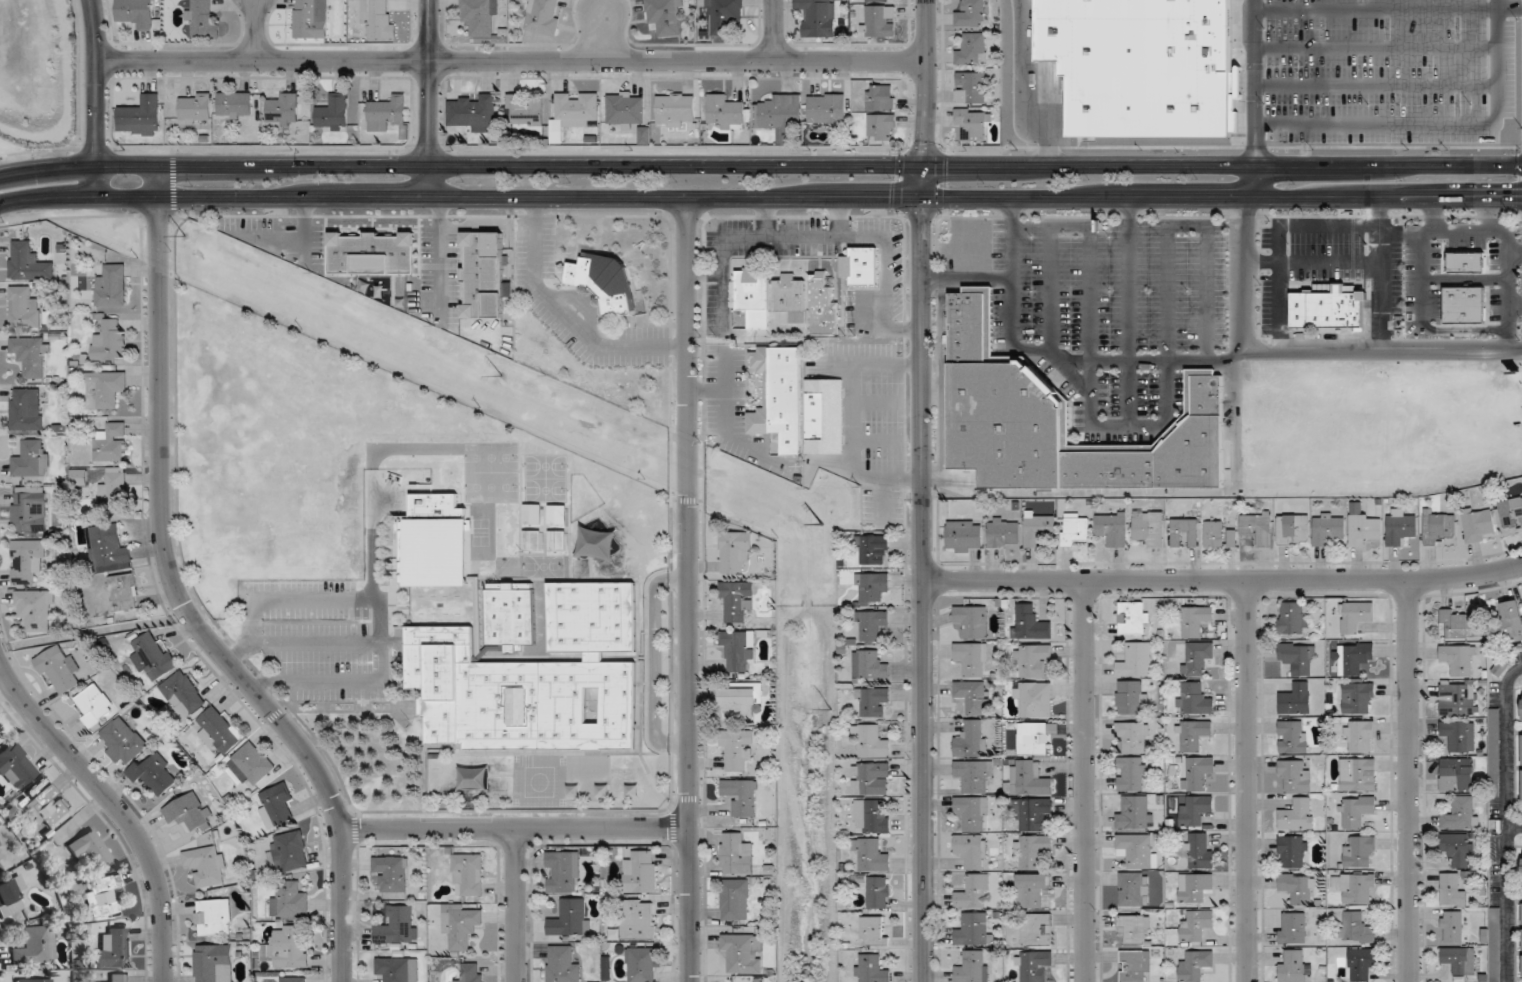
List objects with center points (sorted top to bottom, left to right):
building: (877, 1)
building: (135, 13)
building: (971, 15)
building: (544, 16)
building: (724, 16)
building: (479, 17)
building: (666, 17)
building: (819, 18)
building: (201, 19)
building: (310, 19)
building: (379, 20)
building: (880, 21)
road: (255, 30)
road: (774, 30)
road: (603, 31)
building: (972, 50)
road: (511, 61)
building: (1142, 65)
building: (970, 88)
road: (97, 97)
road: (430, 97)
building: (881, 98)
building: (234, 105)
building: (195, 108)
building: (283, 109)
building: (826, 109)
building: (525, 110)
building: (577, 110)
building: (675, 110)
building: (333, 113)
building: (387, 113)
building: (629, 113)
building: (724, 113)
building: (474, 114)
building: (778, 114)
building: (140, 117)
building: (973, 124)
building: (882, 128)
traffic signals: (926, 138)
road: (760, 164)
traffic signals: (948, 164)
road: (1259, 181)
road: (343, 196)
traffic signals: (886, 197)
road: (1104, 197)
traffic signals: (1510, 198)
traffic signals: (922, 224)
building: (372, 254)
building: (28, 263)
building: (861, 267)
building: (482, 275)
building: (1477, 277)
building: (607, 281)
building: (112, 287)
building: (754, 296)
building: (790, 299)
building: (823, 306)
building: (24, 309)
building: (1327, 309)
building: (1462, 329)
building: (110, 341)
building: (31, 356)
building: (103, 390)
building: (779, 396)
building: (26, 410)
building: (824, 416)
building: (1060, 421)
building: (111, 443)
building: (32, 460)
building: (79, 477)
road: (922, 490)
building: (113, 494)
building: (27, 514)
building: (508, 514)
building: (532, 514)
building: (1511, 514)
building: (557, 515)
building: (1479, 525)
building: (1257, 527)
building: (1363, 527)
building: (1039, 528)
building: (1149, 528)
building: (1400, 528)
building: (1437, 528)
building: (1074, 529)
building: (1112, 529)
building: (1328, 529)
building: (1293, 530)
building: (1185, 532)
building: (1003, 533)
building: (1214, 534)
building: (964, 537)
building: (507, 540)
building: (532, 540)
building: (557, 541)
building: (108, 547)
building: (872, 550)
building: (735, 551)
building: (27, 561)
road: (1223, 580)
building: (872, 588)
road: (689, 589)
building: (123, 593)
road: (181, 598)
road: (316, 598)
building: (737, 602)
building: (34, 608)
building: (510, 614)
building: (1356, 617)
building: (1133, 618)
building: (1293, 618)
building: (1195, 621)
building: (972, 622)
building: (1508, 623)
building: (1028, 624)
building: (1456, 624)
building: (871, 626)
road: (316, 641)
road: (239, 650)
building: (736, 651)
building: (154, 658)
building: (1196, 658)
building: (1298, 658)
building: (1354, 658)
building: (972, 659)
road: (382, 660)
building: (1459, 660)
building: (1032, 661)
building: (1136, 661)
building: (870, 665)
building: (1501, 667)
building: (59, 670)
road: (315, 679)
building: (534, 680)
building: (182, 695)
building: (971, 696)
building: (1131, 698)
building: (1458, 698)
building: (1034, 699)
building: (1194, 699)
building: (1296, 699)
building: (1360, 700)
building: (741, 701)
building: (872, 701)
building: (94, 706)
building: (1521, 708)
building: (220, 731)
building: (1193, 735)
building: (1292, 736)
building: (1459, 736)
building: (1133, 737)
building: (1360, 737)
building: (1033, 739)
building: (972, 740)
building: (122, 741)
building: (872, 742)
building: (738, 748)
building: (251, 765)
building: (16, 767)
building: (1521, 768)
building: (1197, 773)
building: (1132, 774)
building: (1294, 774)
building: (154, 775)
building: (1358, 775)
building: (1456, 775)
building: (974, 776)
building: (473, 779)
building: (871, 779)
building: (1028, 780)
road: (1085, 781)
road: (1246, 781)
road: (1409, 781)
building: (741, 796)
building: (277, 806)
building: (46, 808)
road: (116, 808)
building: (1196, 811)
building: (1357, 811)
building: (189, 813)
building: (972, 813)
building: (1032, 813)
building: (1135, 813)
building: (1461, 814)
building: (1297, 815)
building: (871, 817)
road: (1506, 820)
road: (1514, 827)
road: (516, 829)
building: (89, 849)
building: (1136, 850)
building: (1456, 850)
building: (972, 851)
building: (1200, 851)
building: (290, 852)
building: (1031, 852)
building: (1293, 852)
building: (1360, 853)
building: (736, 854)
building: (872, 855)
building: (206, 866)
building: (1, 869)
building: (1521, 869)
building: (392, 873)
building: (563, 873)
building: (641, 873)
building: (468, 874)
building: (1195, 887)
building: (1298, 889)
building: (1358, 889)
building: (1031, 890)
building: (1133, 890)
building: (1452, 890)
building: (878, 893)
building: (973, 893)
building: (11, 897)
building: (104, 897)
building: (288, 900)
building: (734, 900)
road: (517, 905)
building: (213, 918)
building: (570, 919)
building: (638, 920)
building: (397, 926)
building: (1197, 926)
building: (462, 928)
building: (1452, 928)
building: (1135, 929)
building: (1292, 929)
building: (1357, 929)
building: (974, 930)
building: (1037, 930)
building: (873, 931)
building: (1521, 940)
building: (1495, 945)
building: (35, 946)
building: (287, 948)
building: (114, 949)
building: (744, 953)
building: (1459, 961)
building: (213, 963)
building: (1362, 963)
building: (562, 965)
building: (642, 965)
building: (1135, 966)
building: (1196, 966)
building: (973, 967)
building: (1034, 967)
building: (1293, 967)
building: (871, 969)
building: (396, 970)
building: (472, 972)
building: (120, 978)
building: (294, 979)
building: (36, 980)

